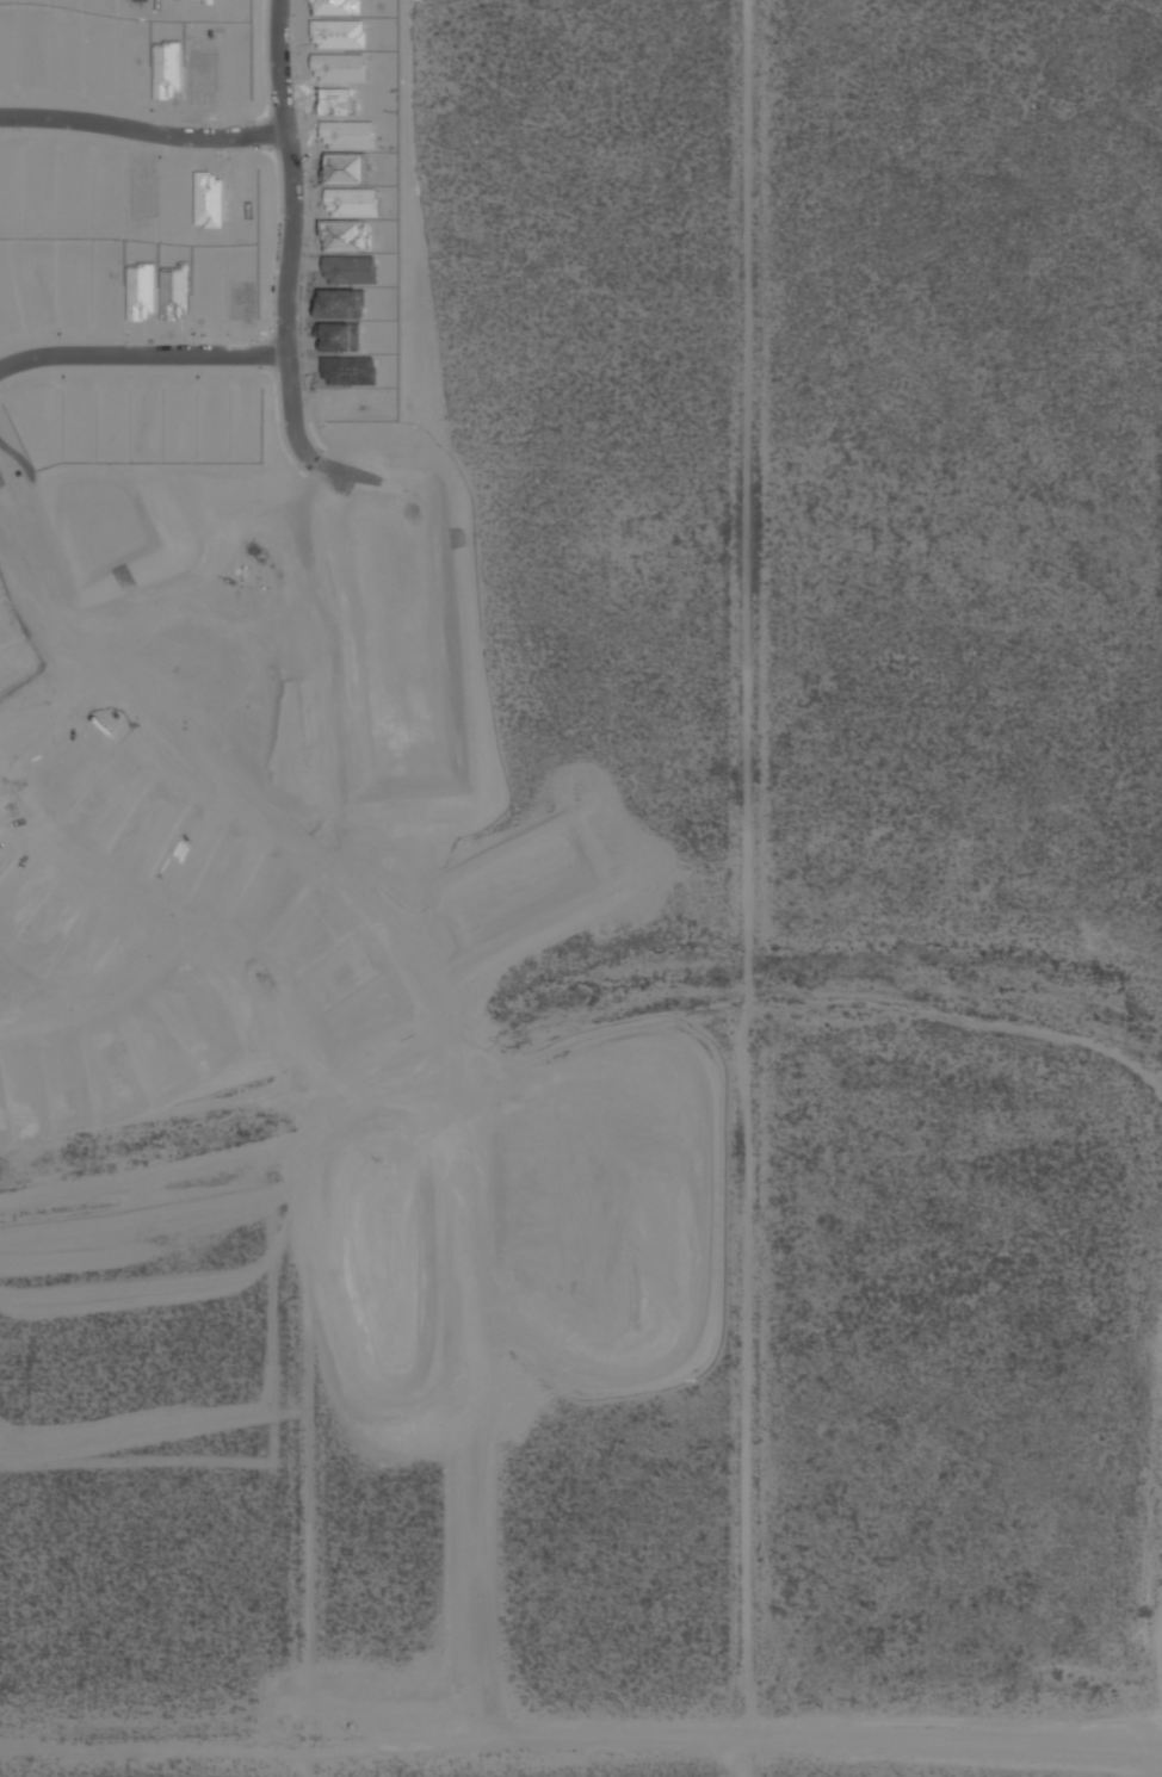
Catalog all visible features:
building: (134, 0)
building: (167, 1)
building: (208, 2)
building: (333, 6)
building: (338, 36)
building: (64, 62)
building: (99, 64)
building: (339, 69)
building: (165, 73)
building: (198, 76)
building: (332, 100)
road: (261, 117)
road: (142, 135)
building: (348, 136)
road: (268, 137)
building: (344, 169)
building: (10, 180)
building: (106, 182)
building: (240, 193)
building: (175, 194)
building: (141, 198)
building: (206, 203)
building: (351, 204)
road: (291, 235)
road: (308, 236)
building: (344, 236)
building: (348, 271)
building: (173, 293)
building: (140, 295)
building: (208, 302)
building: (241, 303)
building: (338, 304)
building: (6, 311)
building: (338, 338)
road: (262, 339)
road: (272, 358)
road: (142, 359)
building: (348, 372)
road: (197, 374)
building: (351, 407)
building: (211, 408)
building: (110, 414)
building: (243, 419)
building: (0, 644)
road: (41, 704)
road: (47, 726)
road: (198, 760)
building: (68, 778)
road: (206, 781)
road: (206, 797)
building: (103, 809)
building: (143, 837)
building: (177, 867)
building: (222, 880)
road: (148, 914)
building: (338, 973)
road: (103, 1005)
road: (450, 1032)
road: (758, 1590)
road: (580, 1746)
road: (319, 1760)

